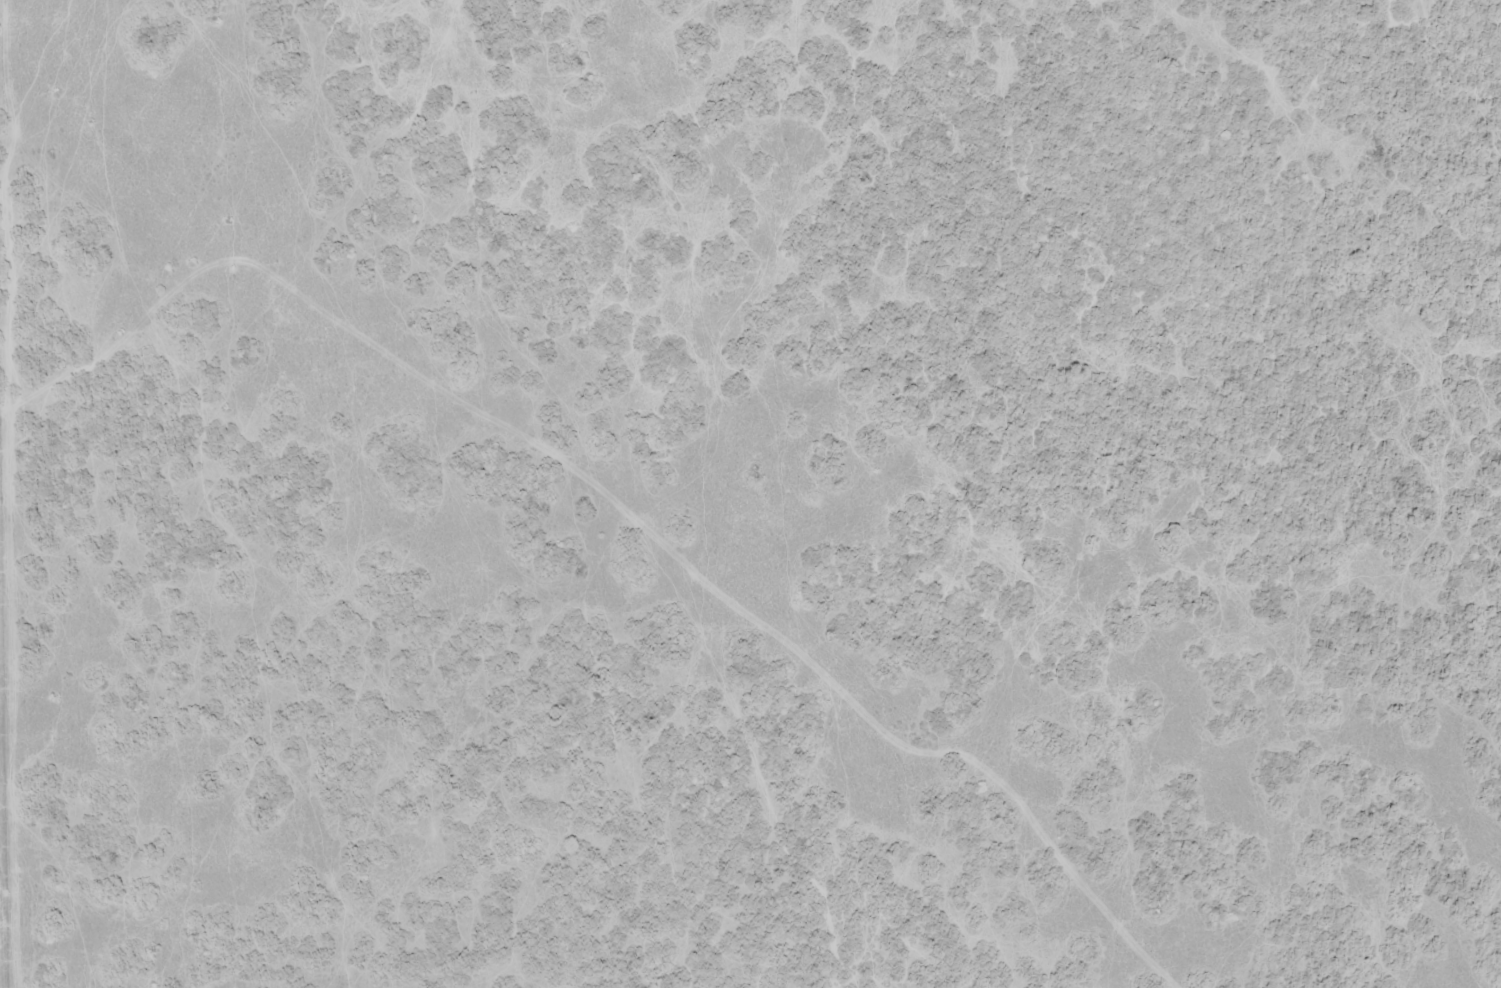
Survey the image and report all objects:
road: (282, 583)

